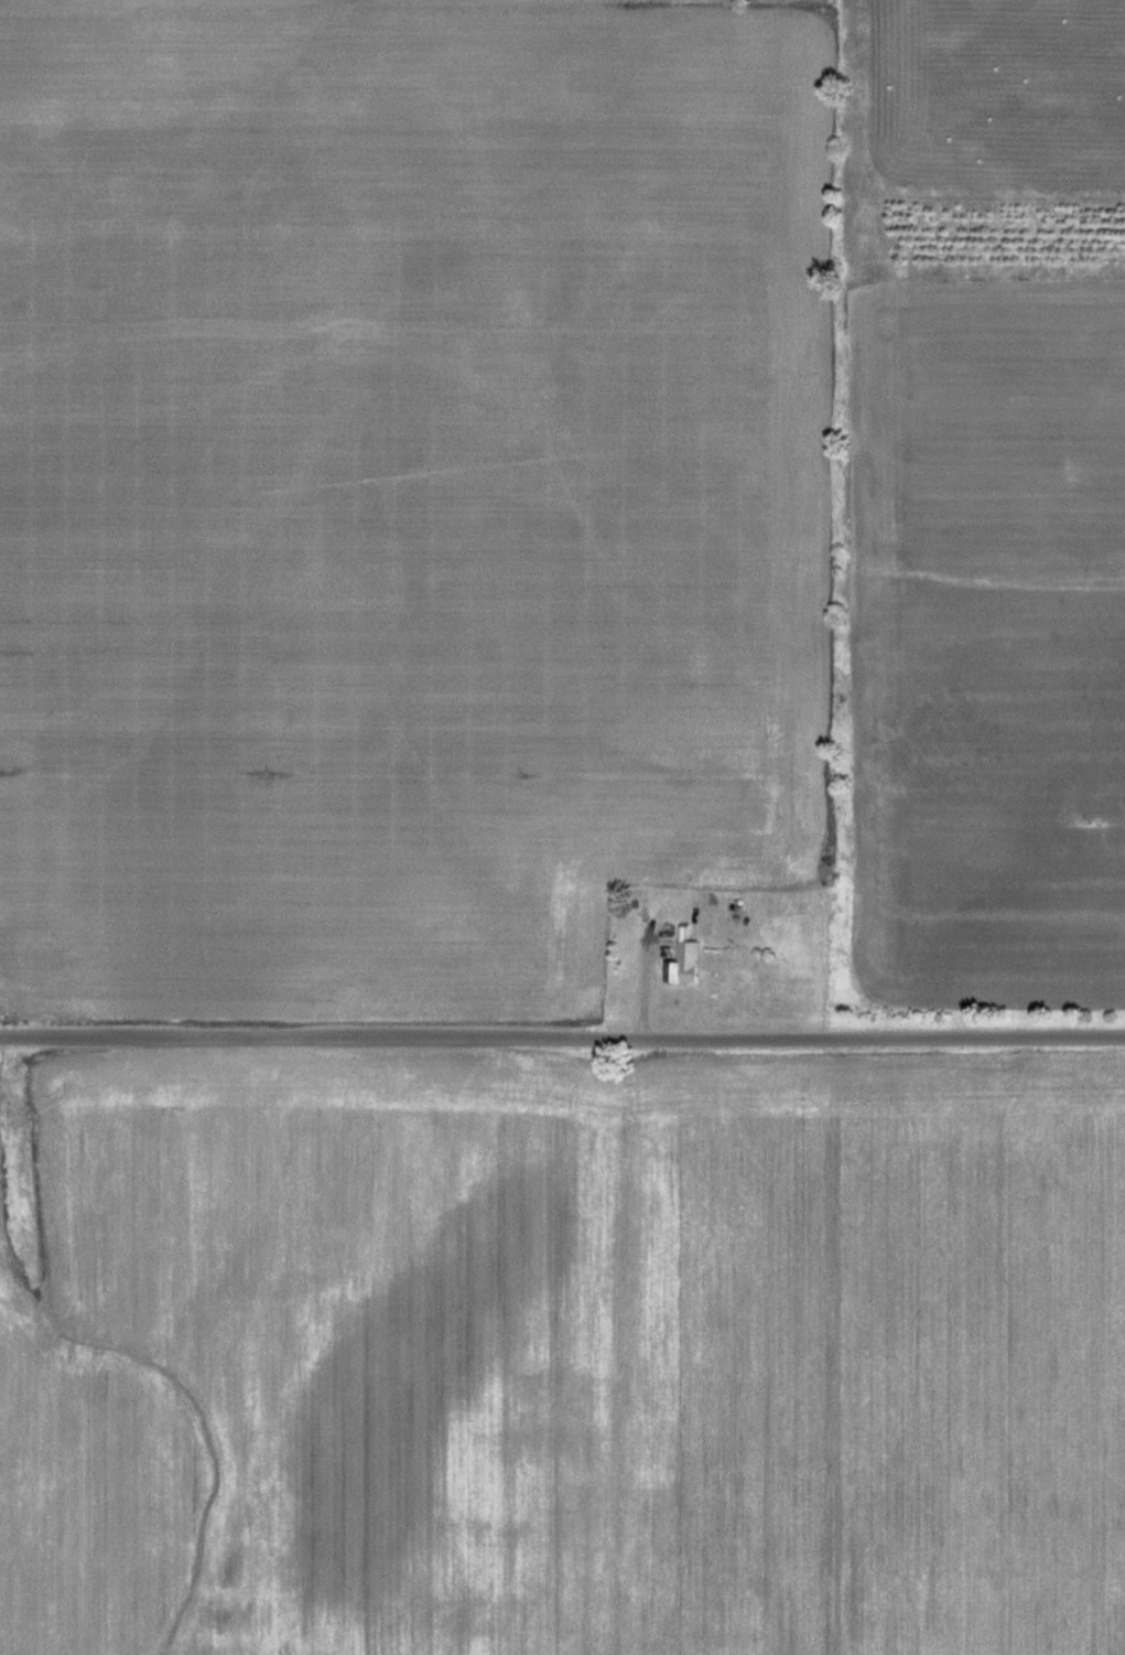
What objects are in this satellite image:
building: (688, 964)
road: (562, 1036)

